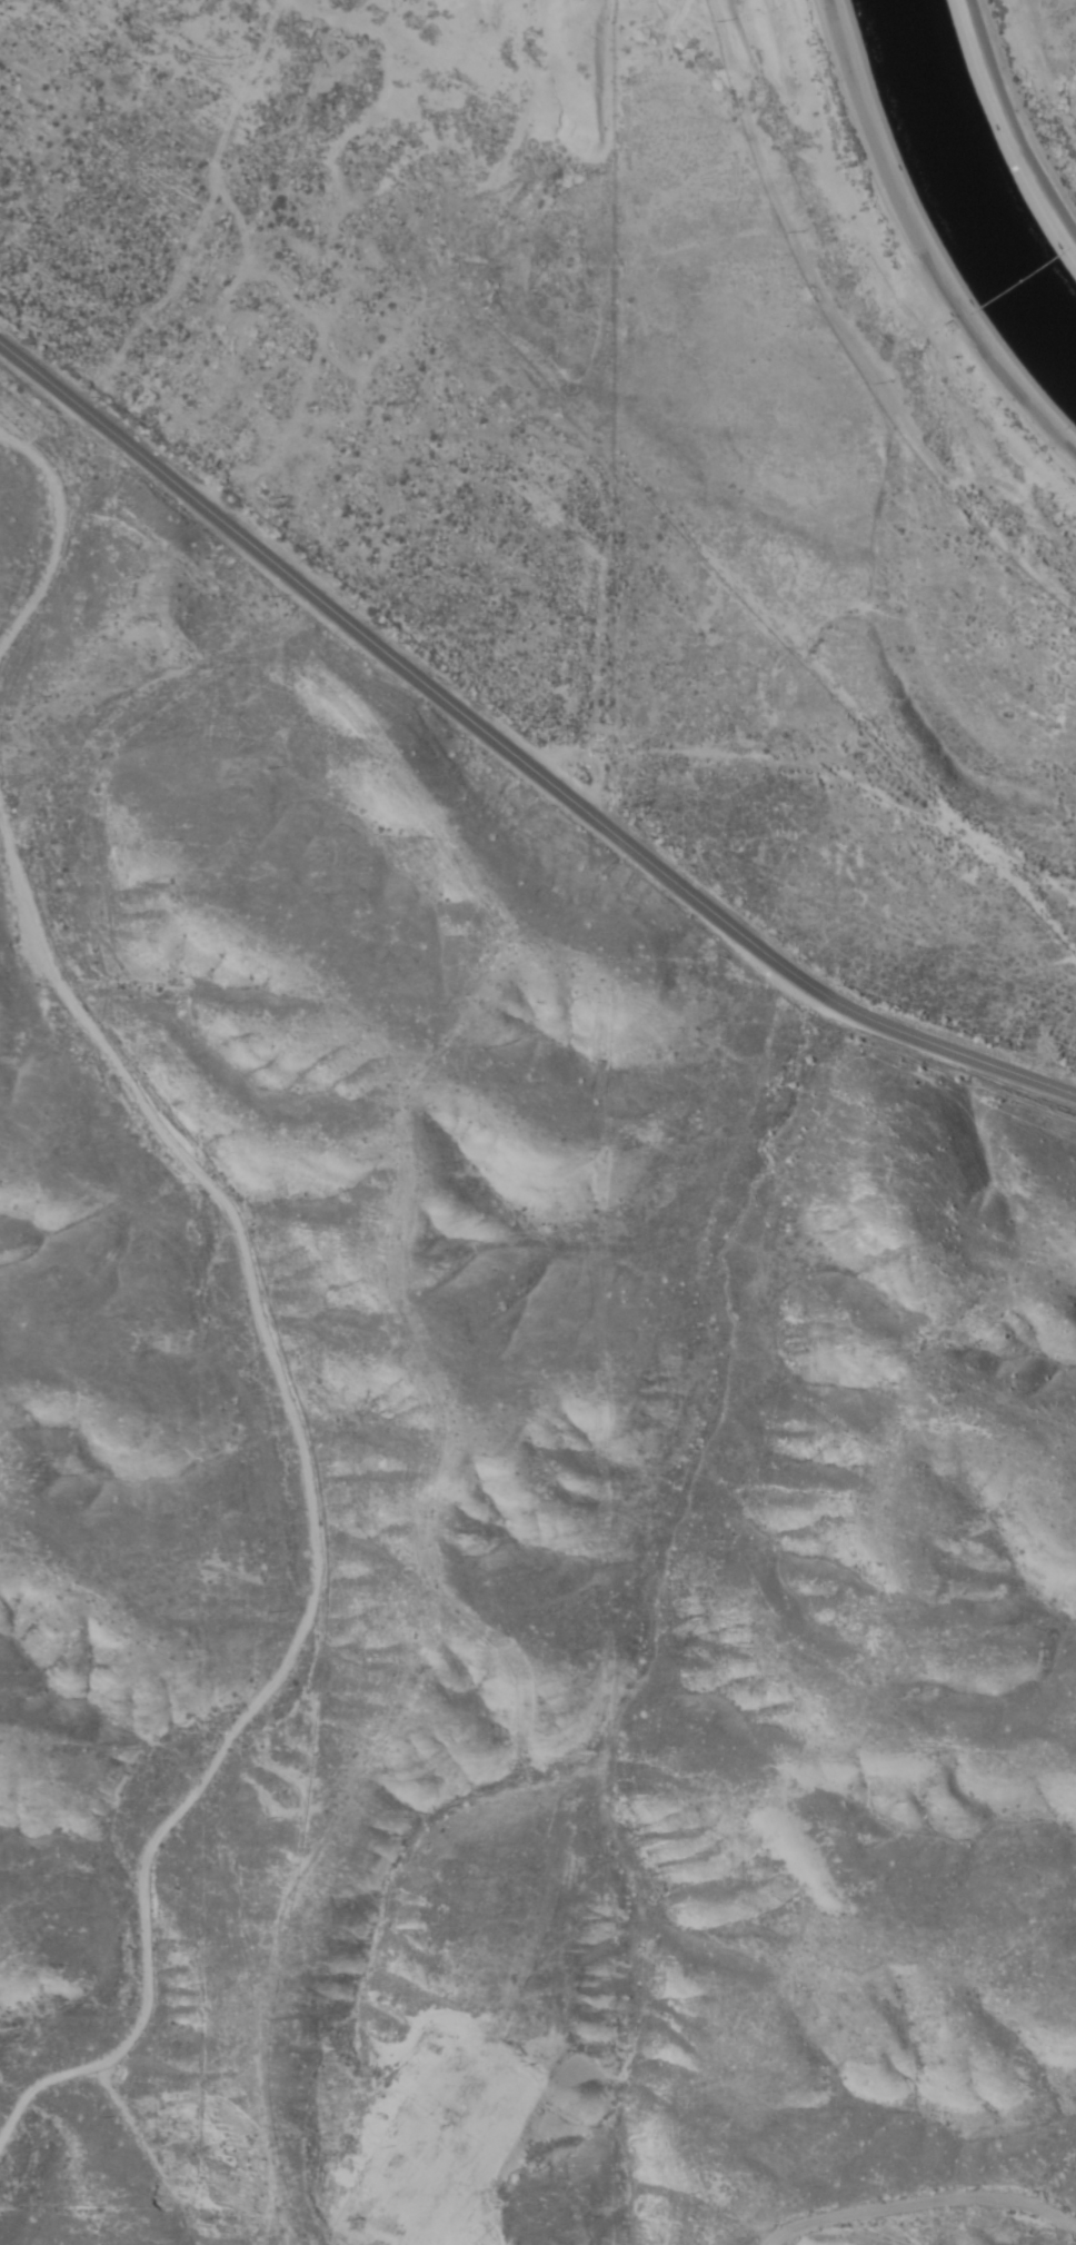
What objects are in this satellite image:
road: (1016, 115)
road: (916, 244)
road: (516, 753)
road: (847, 785)

